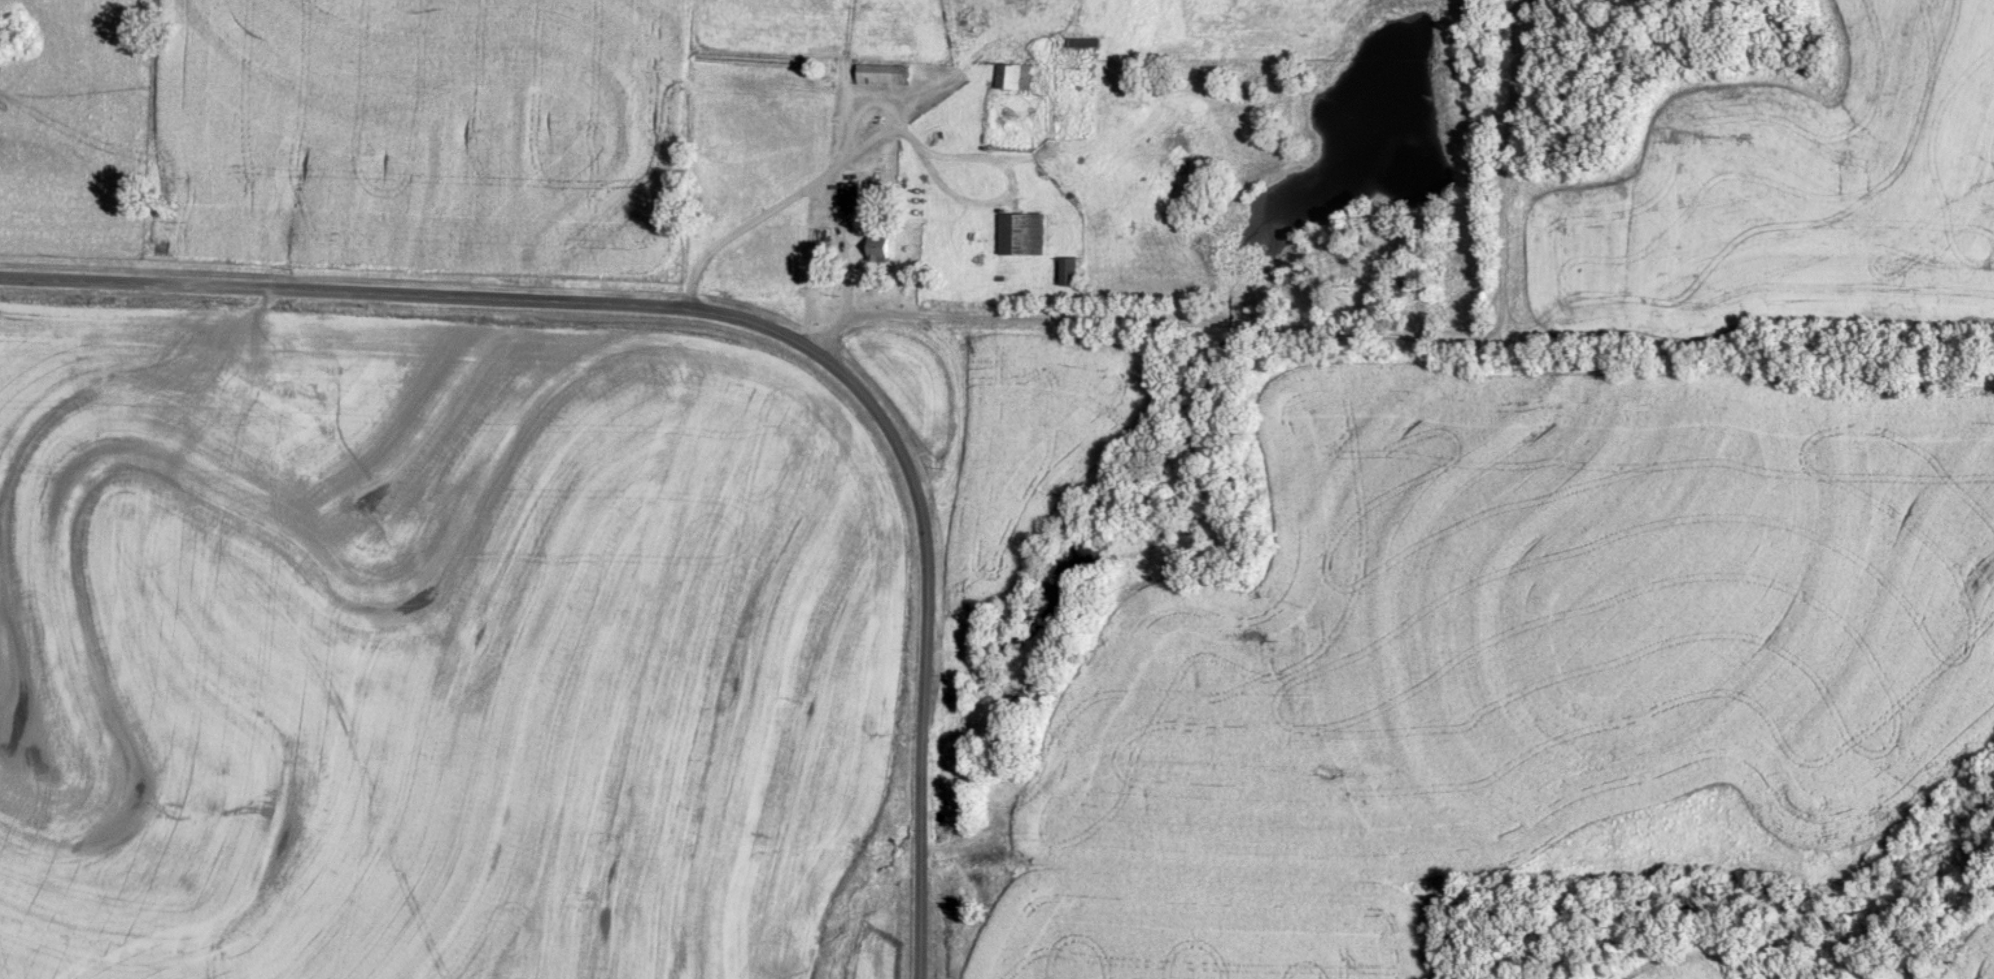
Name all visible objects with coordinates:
building: (1082, 42)
building: (883, 74)
building: (1013, 76)
road: (687, 136)
road: (879, 141)
building: (850, 197)
building: (1022, 234)
building: (879, 249)
building: (1070, 271)
road: (852, 273)
road: (743, 320)
road: (1339, 332)
building: (986, 352)

